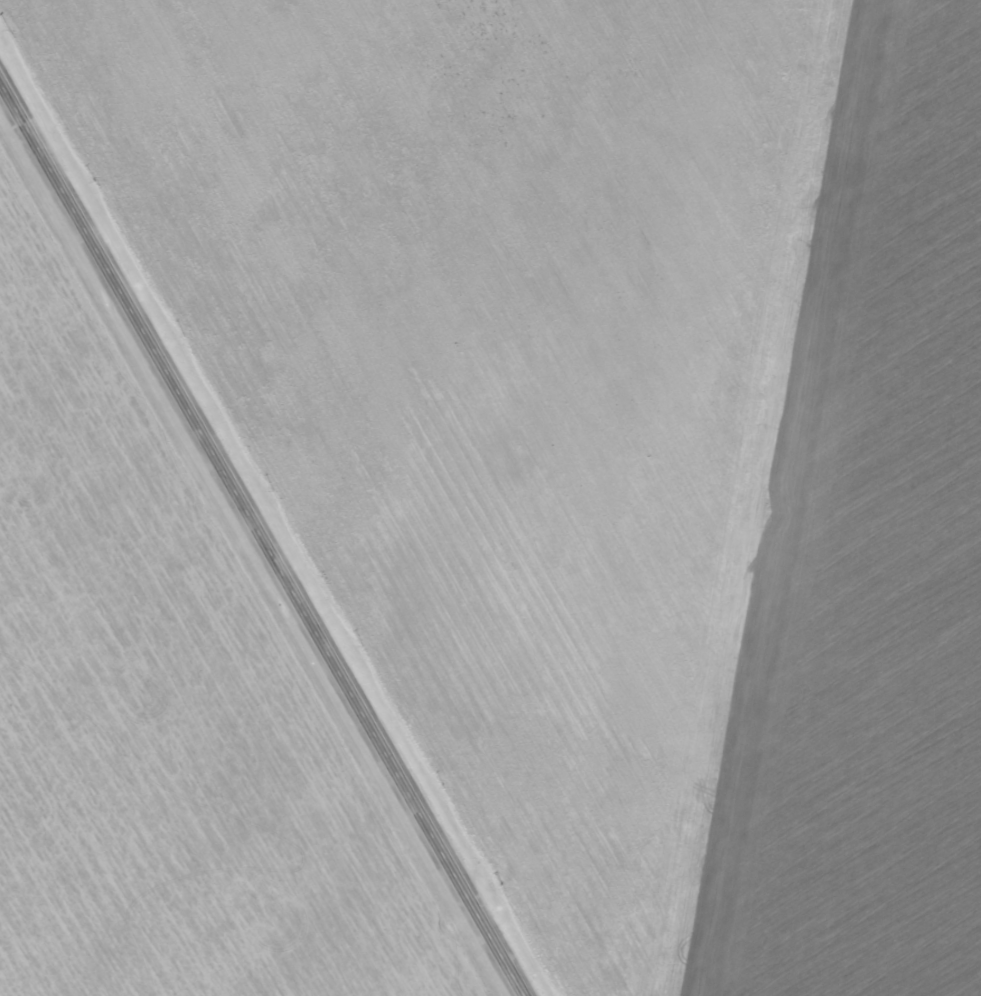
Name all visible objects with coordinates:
road: (261, 540)

